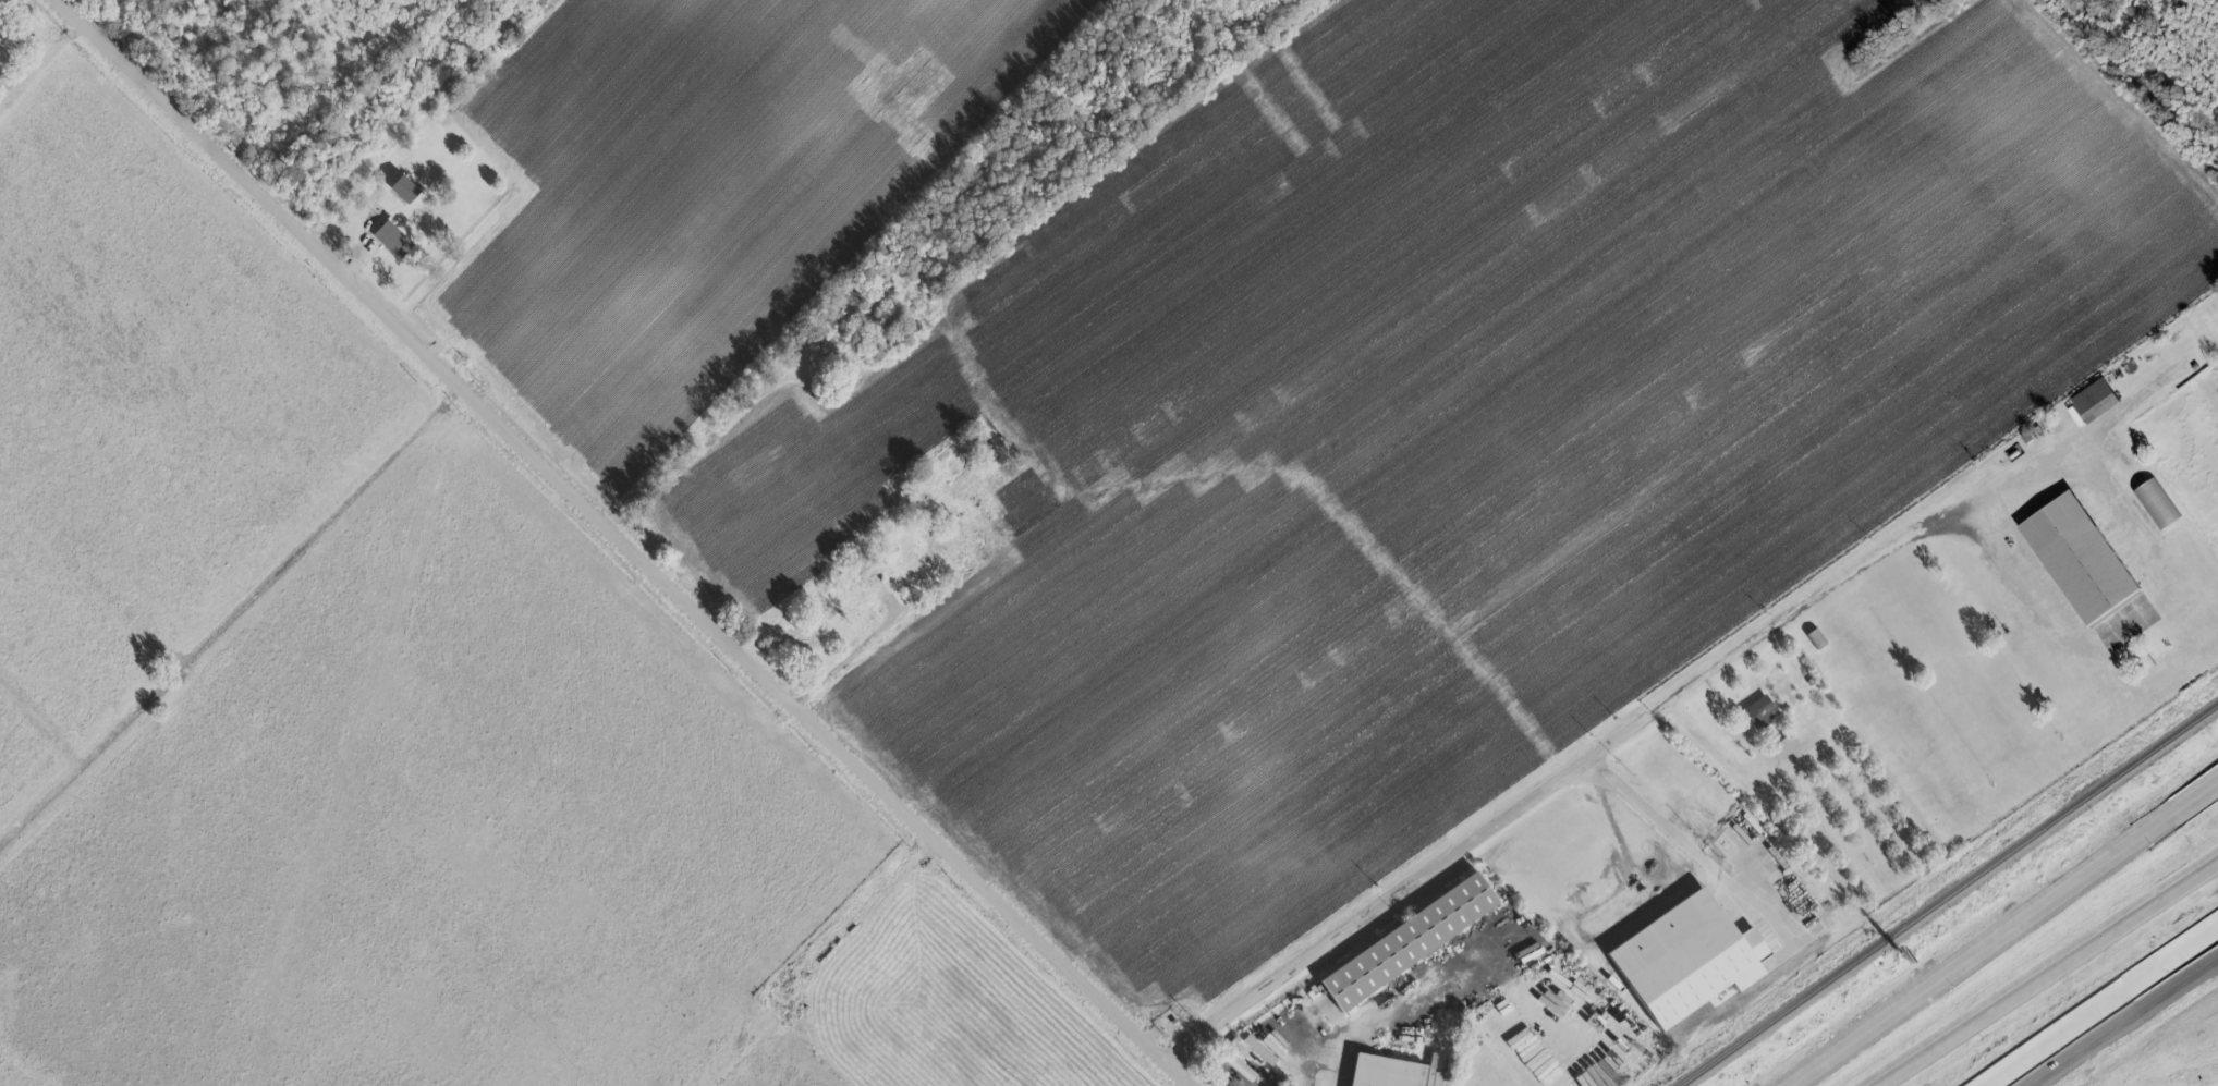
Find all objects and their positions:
road: (41, 63)
building: (403, 188)
building: (391, 239)
building: (2095, 401)
road: (2070, 448)
building: (952, 461)
building: (2157, 502)
road: (627, 540)
building: (2081, 560)
building: (958, 563)
building: (861, 588)
road: (2125, 627)
building: (1816, 638)
road: (867, 648)
building: (1759, 710)
building: (1783, 745)
road: (1733, 766)
road: (1561, 778)
road: (1660, 818)
railway: (1946, 896)
road: (2003, 935)
building: (1407, 942)
building: (1682, 959)
road: (2043, 964)
road: (2098, 1004)
building: (1259, 1050)
road: (1272, 1059)
building: (1239, 1066)
building: (1381, 1072)
building: (1592, 1077)
road: (2208, 1083)

